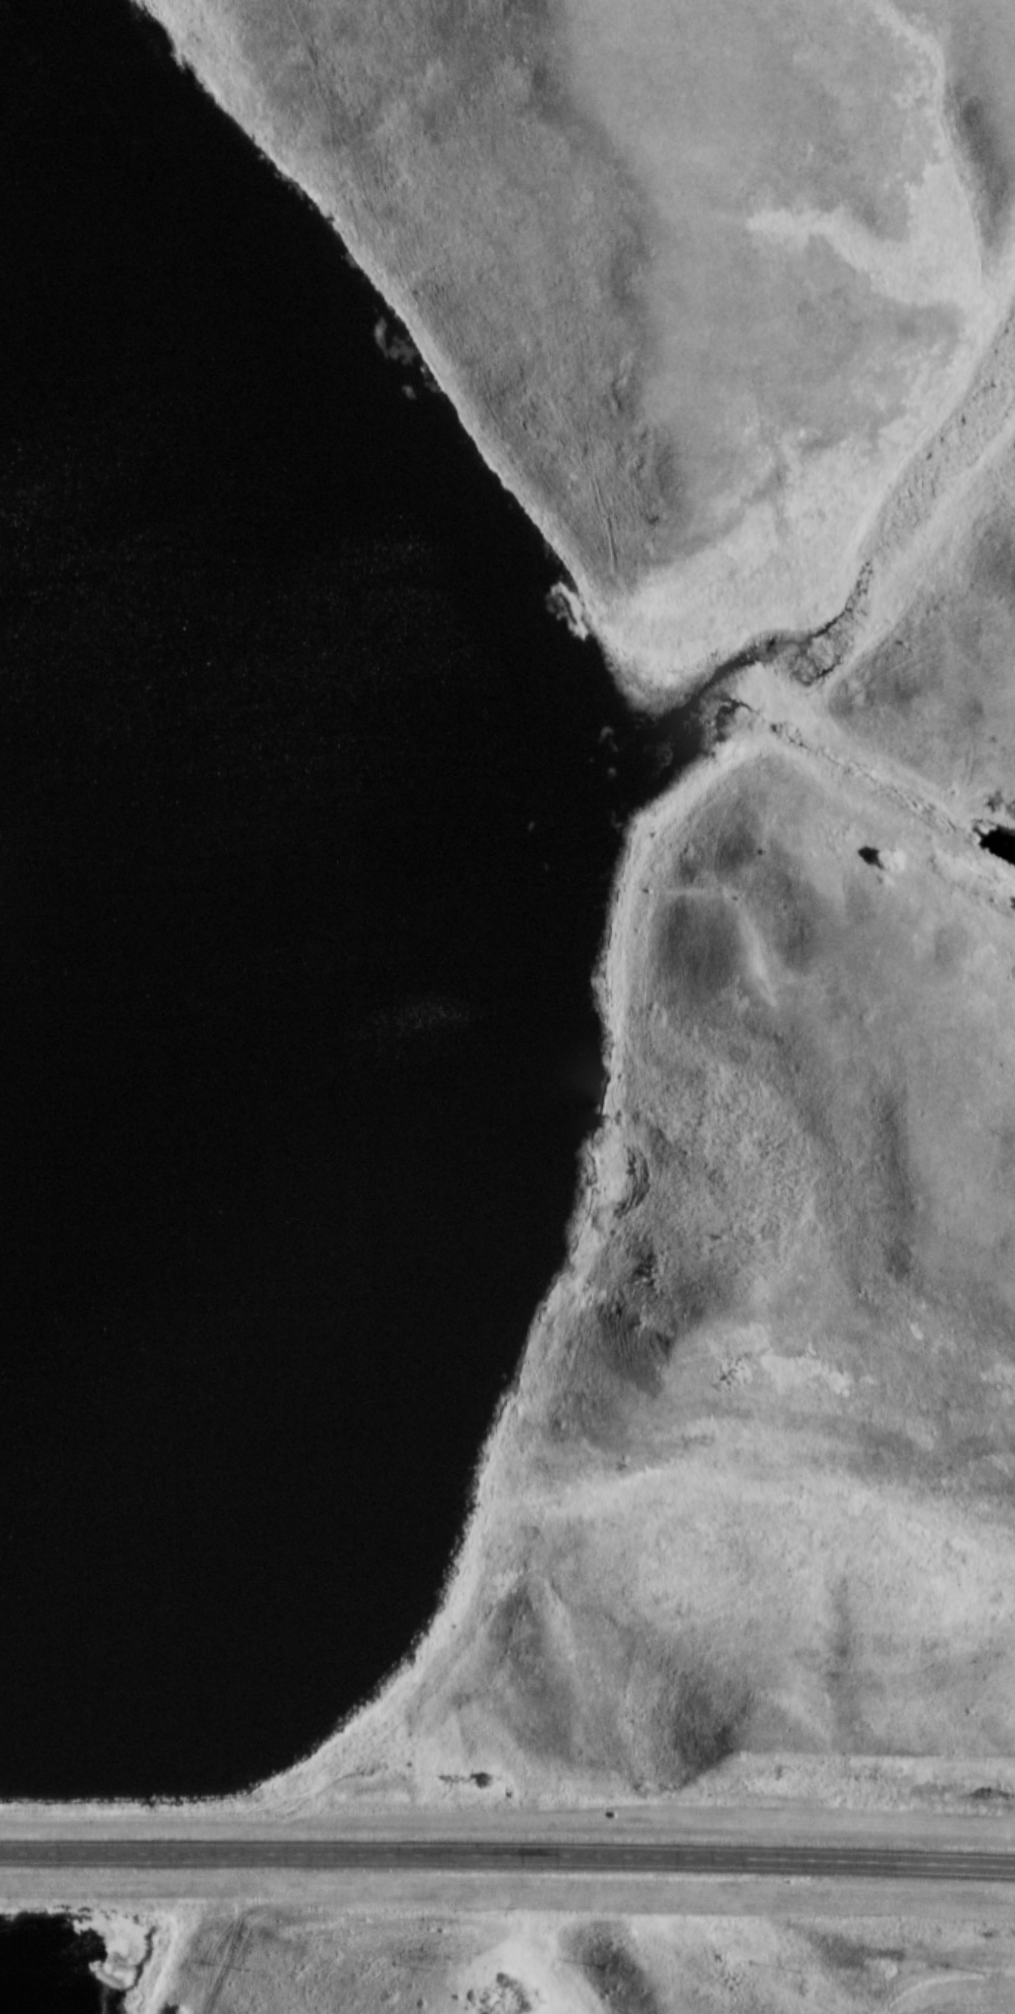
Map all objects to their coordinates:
road: (507, 1857)

